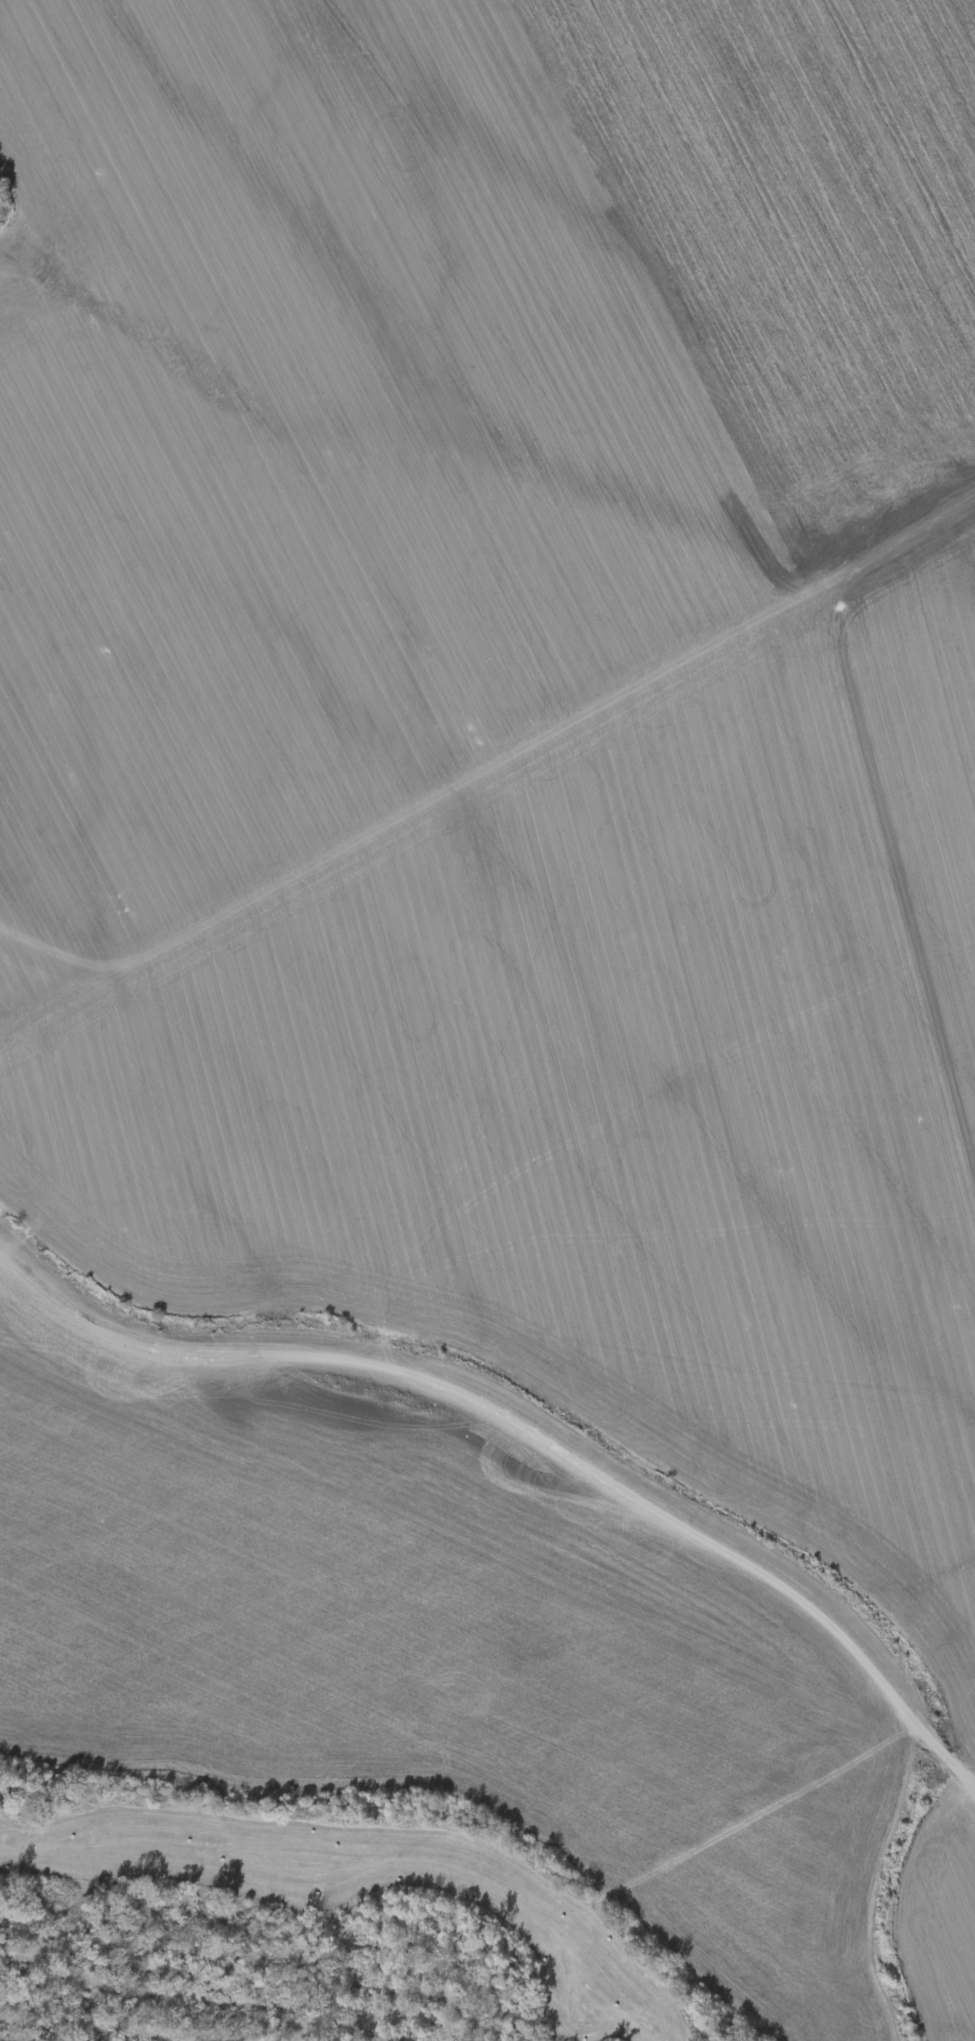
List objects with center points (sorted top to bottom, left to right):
crop: (428, 396)
crop: (926, 732)
crop: (506, 1417)

